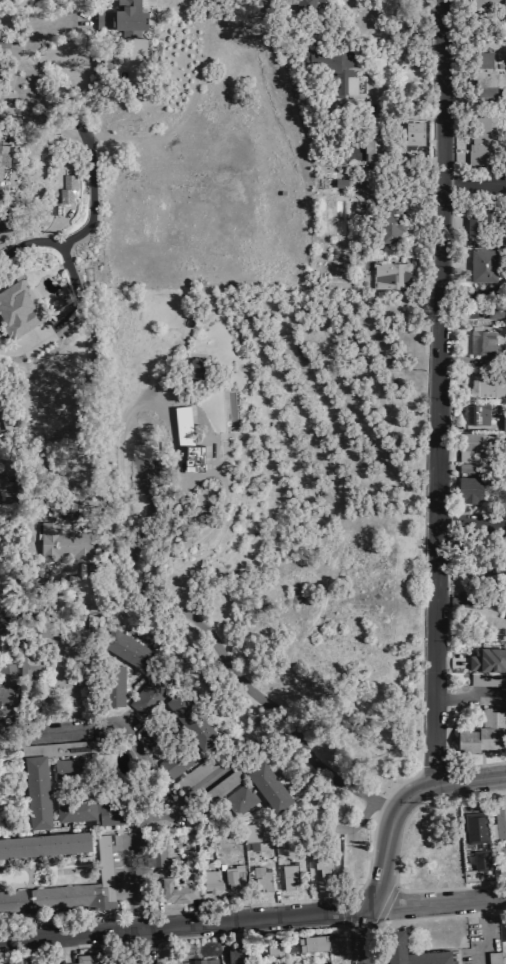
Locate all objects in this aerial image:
park: (43, 0)
building: (505, 1)
building: (304, 5)
road: (66, 13)
building: (123, 17)
building: (4, 43)
building: (330, 68)
building: (482, 71)
road: (399, 96)
road: (49, 122)
building: (405, 135)
building: (481, 141)
building: (372, 148)
building: (3, 151)
building: (339, 182)
road: (470, 183)
building: (366, 187)
building: (66, 188)
building: (0, 191)
building: (477, 221)
building: (389, 222)
road: (80, 236)
building: (482, 265)
building: (395, 276)
building: (493, 311)
building: (20, 313)
road: (68, 319)
building: (485, 342)
building: (197, 367)
building: (480, 386)
road: (427, 393)
building: (475, 412)
building: (183, 423)
building: (503, 423)
road: (118, 434)
building: (467, 445)
building: (144, 451)
building: (194, 457)
building: (469, 468)
building: (5, 484)
building: (469, 489)
road: (472, 525)
building: (63, 542)
building: (501, 570)
road: (470, 602)
building: (43, 624)
building: (125, 647)
building: (488, 659)
road: (239, 680)
building: (487, 680)
building: (112, 685)
building: (150, 690)
parking lot: (481, 691)
building: (10, 692)
road: (465, 700)
building: (191, 719)
road: (68, 729)
building: (483, 733)
building: (154, 735)
building: (174, 762)
building: (68, 770)
building: (198, 771)
building: (45, 777)
road: (470, 781)
building: (267, 786)
building: (217, 788)
building: (239, 798)
building: (76, 809)
building: (112, 813)
building: (500, 821)
building: (479, 828)
building: (252, 833)
building: (45, 844)
road: (137, 844)
building: (164, 852)
building: (320, 860)
building: (484, 860)
road: (384, 863)
building: (505, 868)
building: (231, 874)
building: (289, 875)
building: (261, 877)
building: (209, 881)
road: (396, 887)
road: (486, 887)
building: (68, 889)
building: (177, 891)
road: (438, 904)
road: (257, 919)
road: (476, 932)
road: (72, 933)
building: (393, 938)
building: (313, 943)
road: (68, 947)
building: (275, 949)
building: (238, 954)
building: (493, 957)
building: (96, 958)
building: (199, 961)
building: (325, 963)

